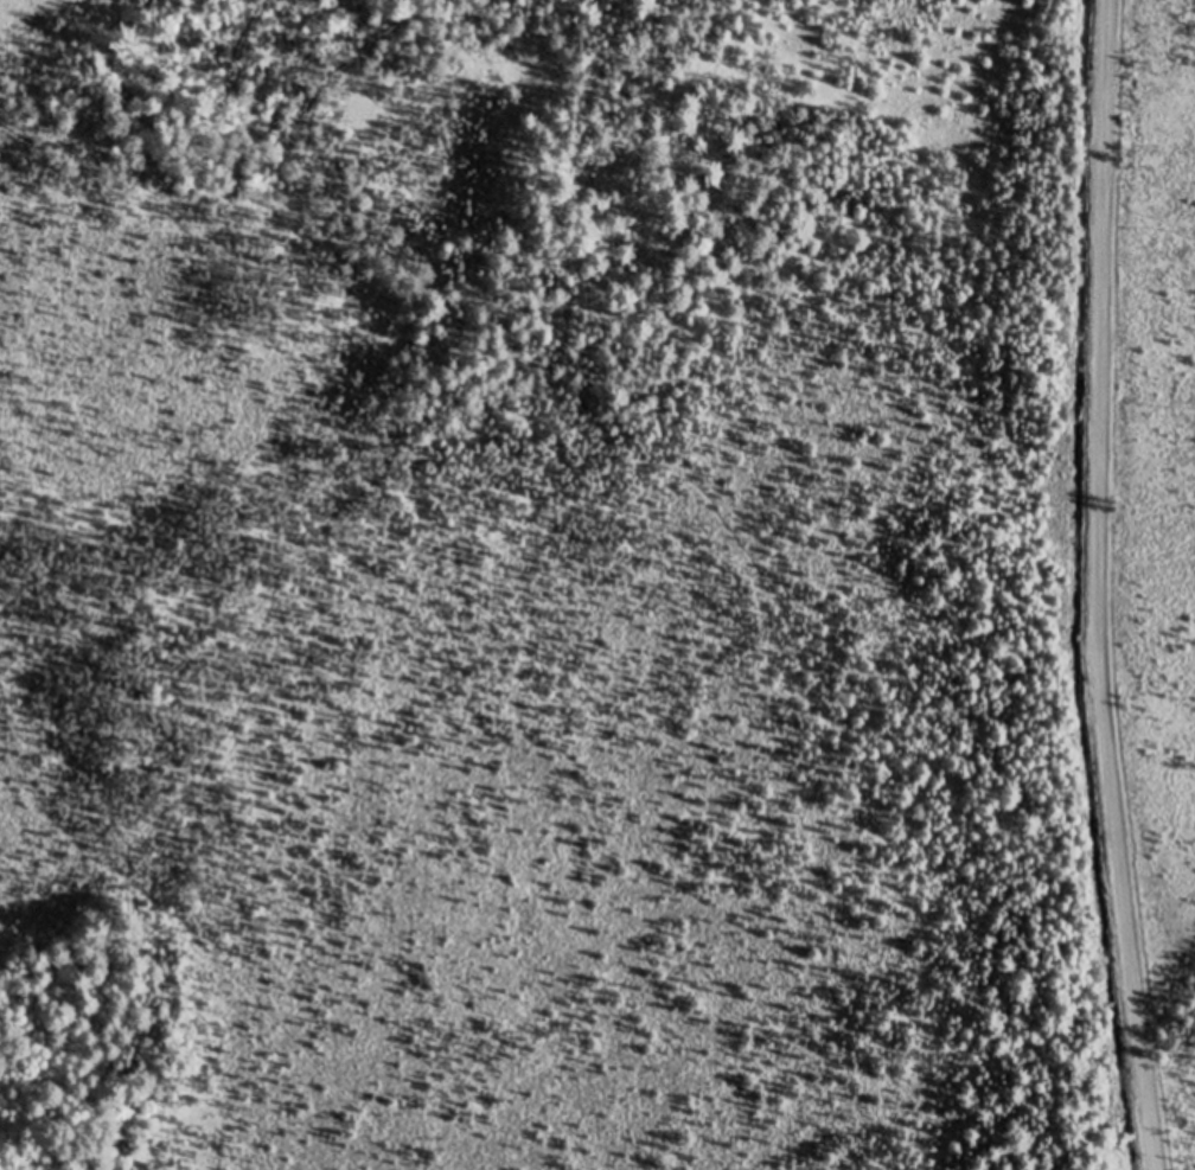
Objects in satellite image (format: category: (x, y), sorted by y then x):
road: (1098, 586)

